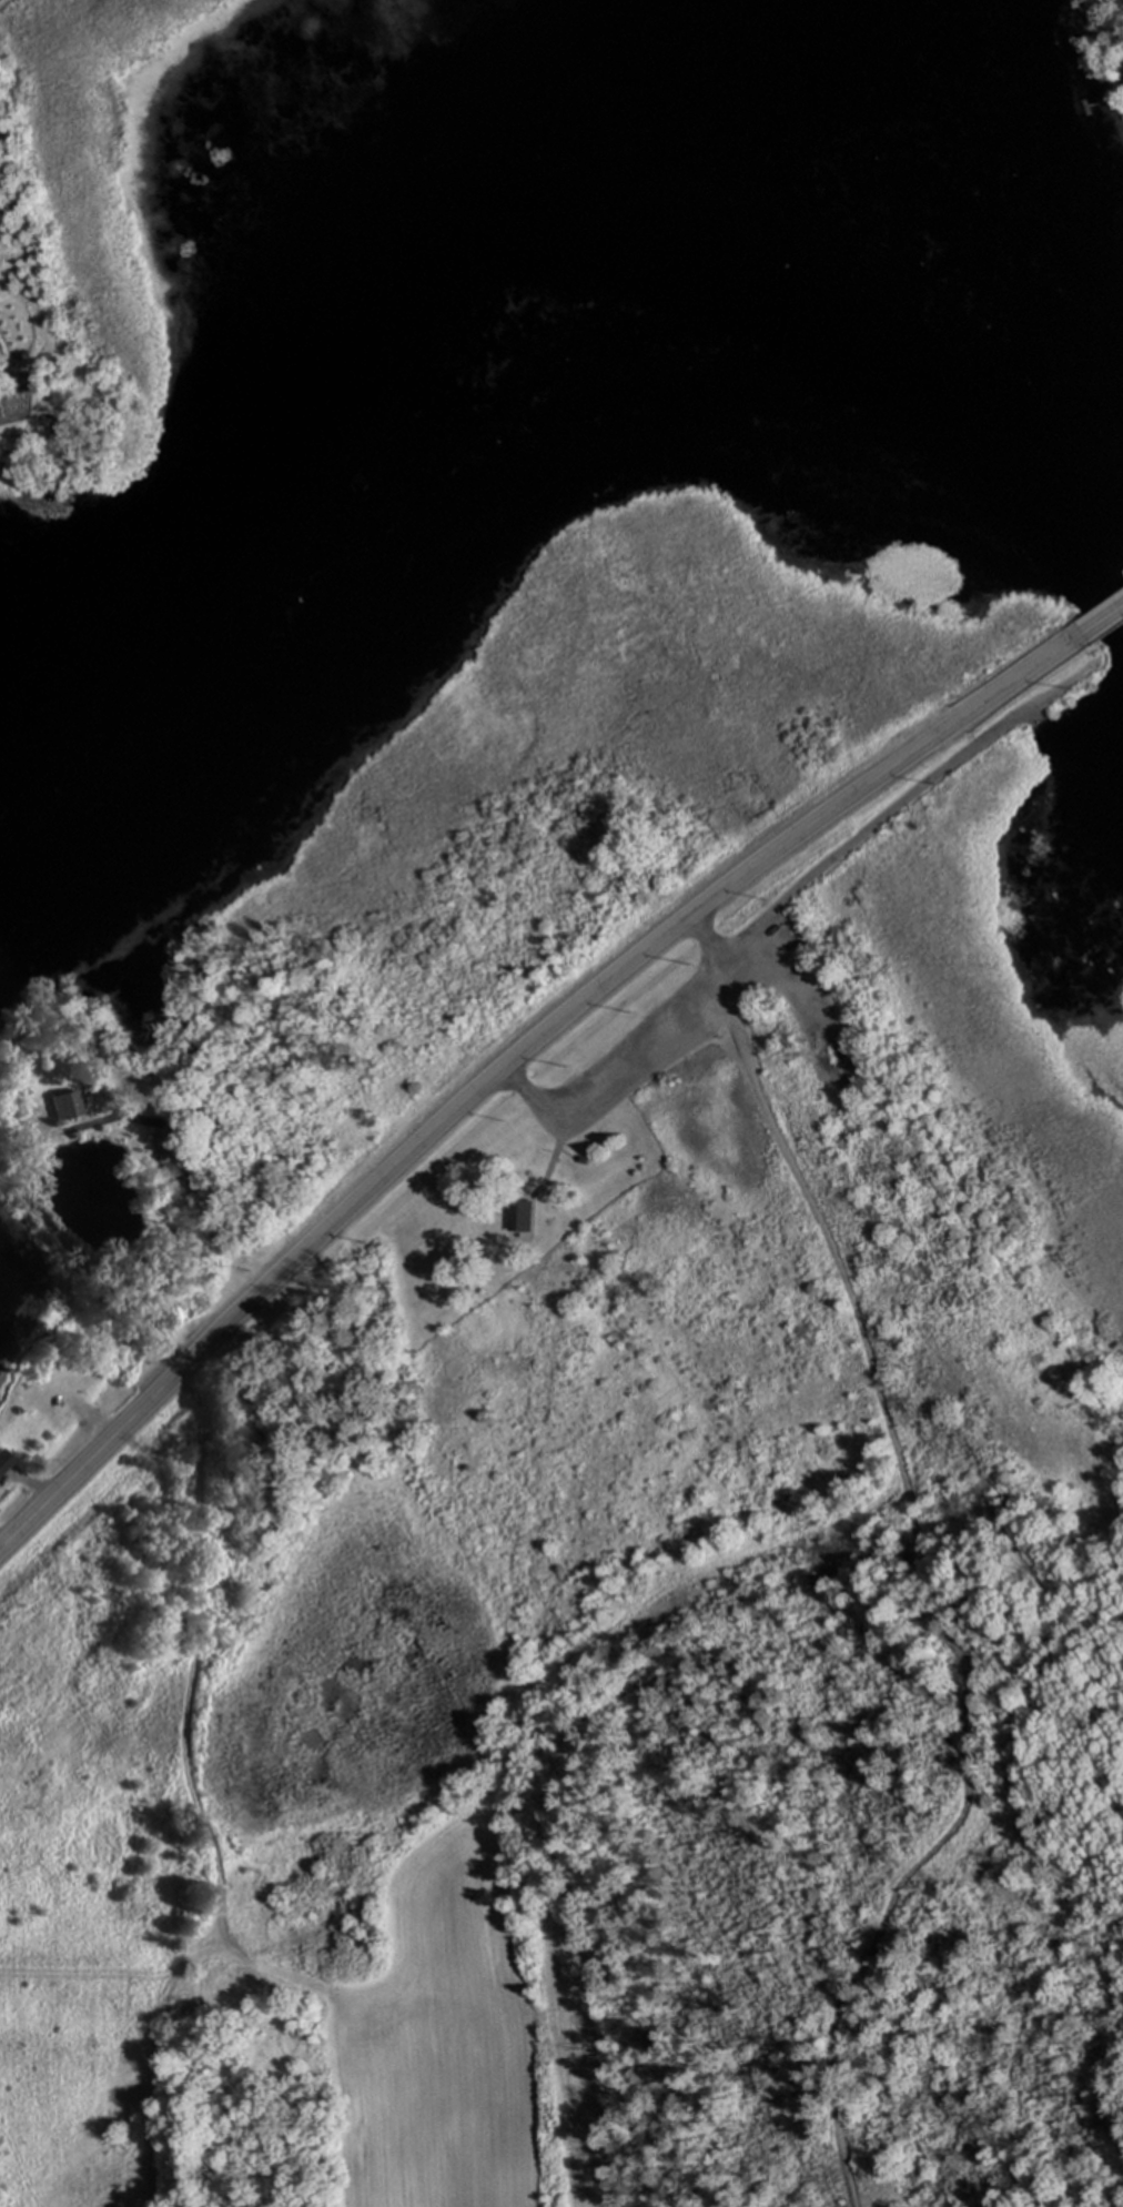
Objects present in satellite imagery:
building: (1116, 7)
river: (534, 214)
road: (1103, 625)
road: (1028, 718)
road: (894, 803)
road: (636, 1036)
road: (512, 1057)
park: (698, 1074)
building: (64, 1105)
building: (175, 1156)
building: (519, 1215)
road: (58, 1239)

